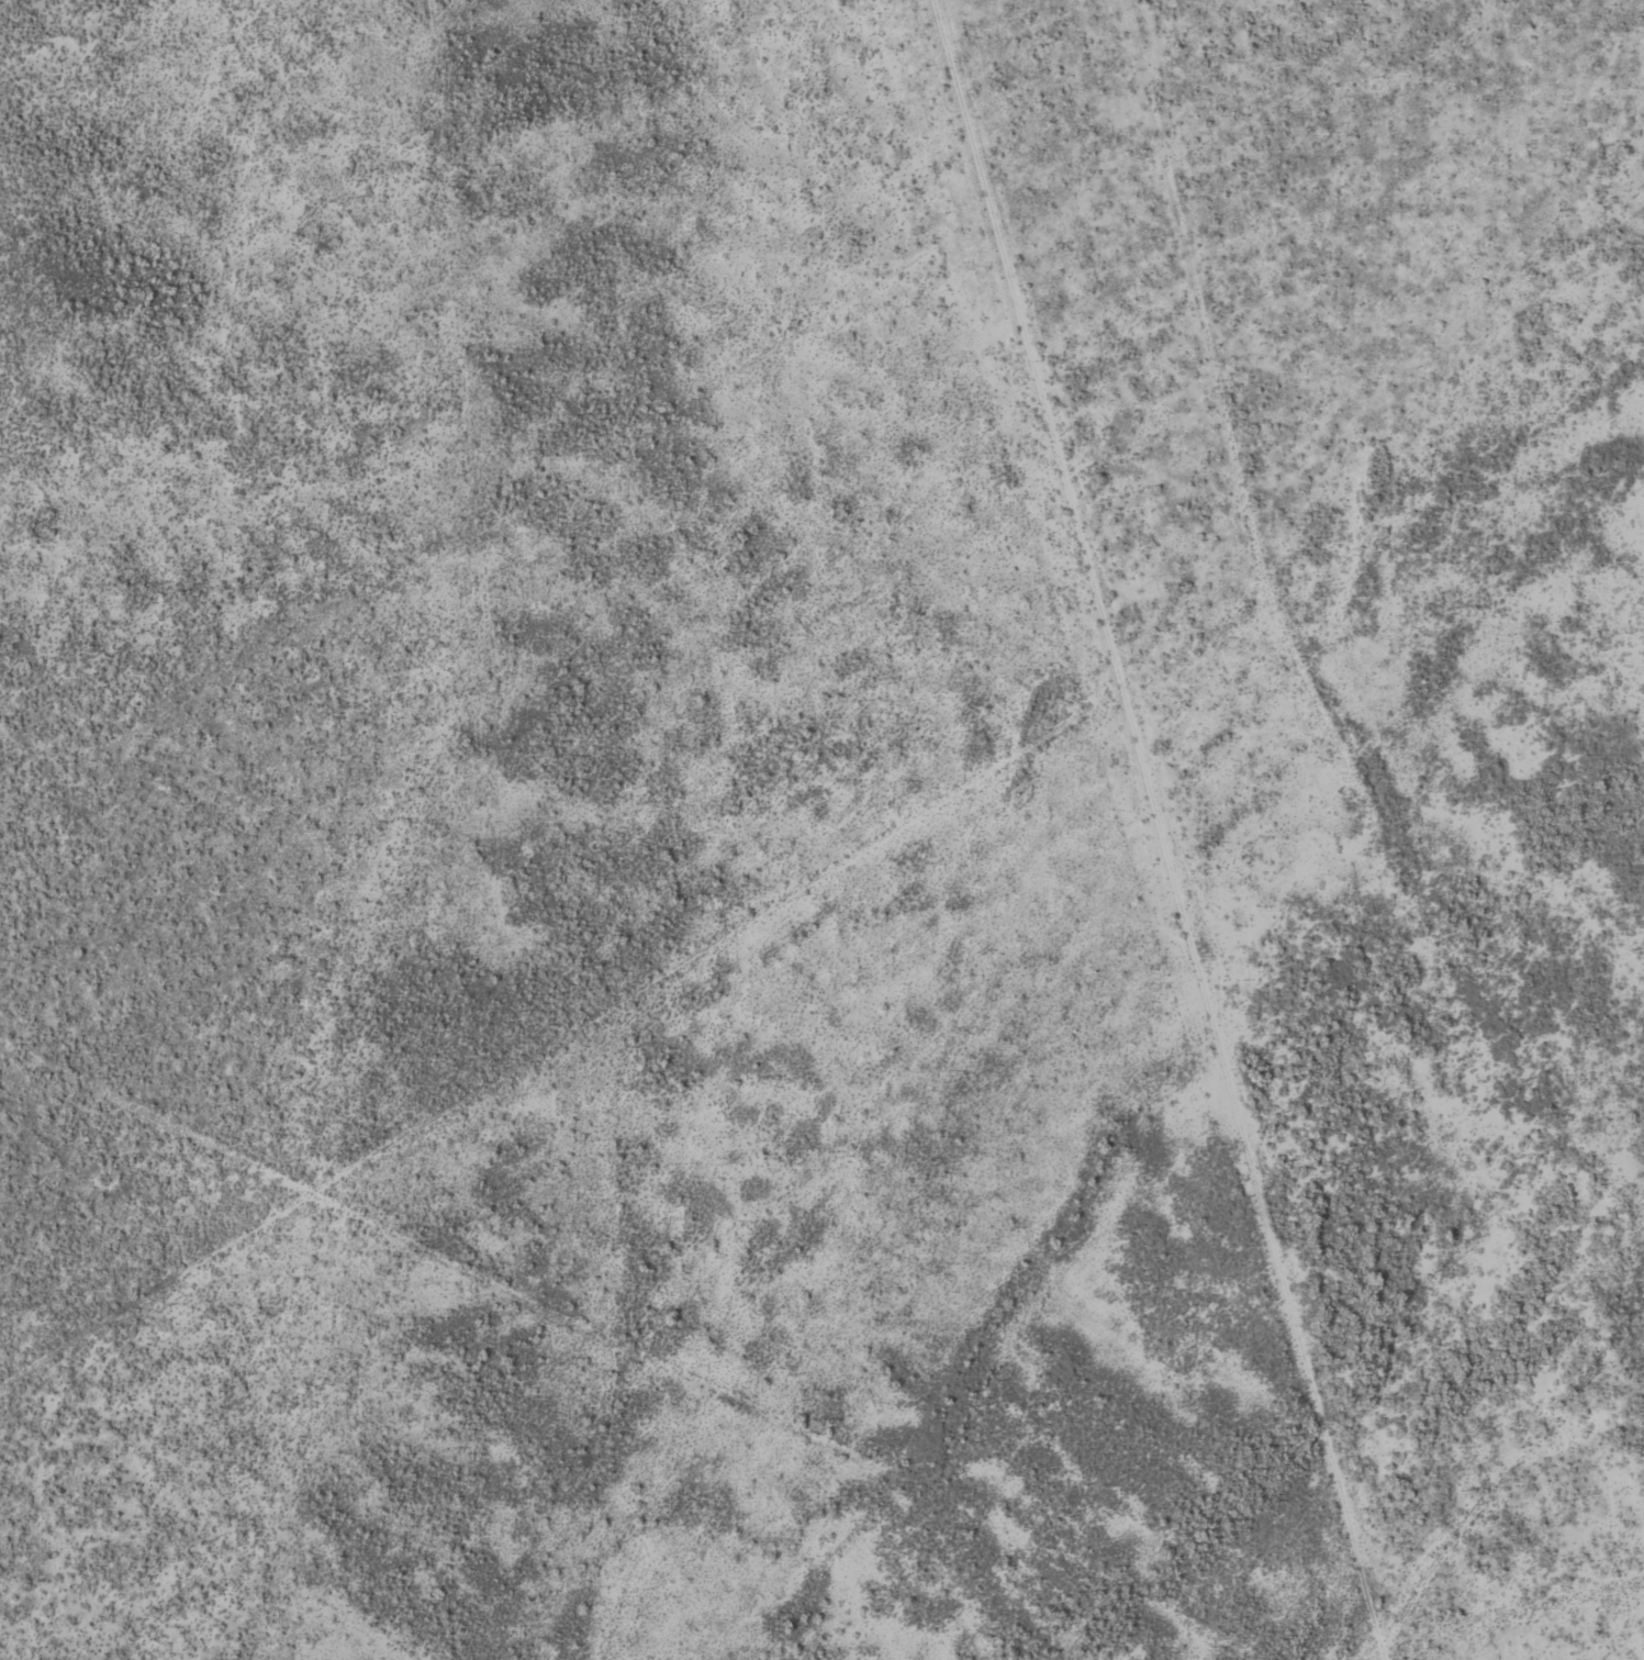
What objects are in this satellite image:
road: (1298, 633)

